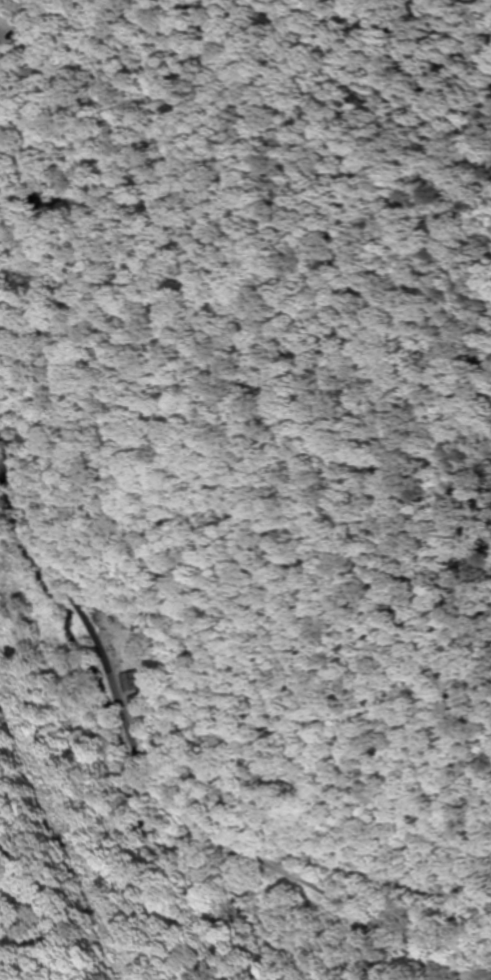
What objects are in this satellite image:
building: (132, 681)
building: (137, 702)
road: (148, 774)

